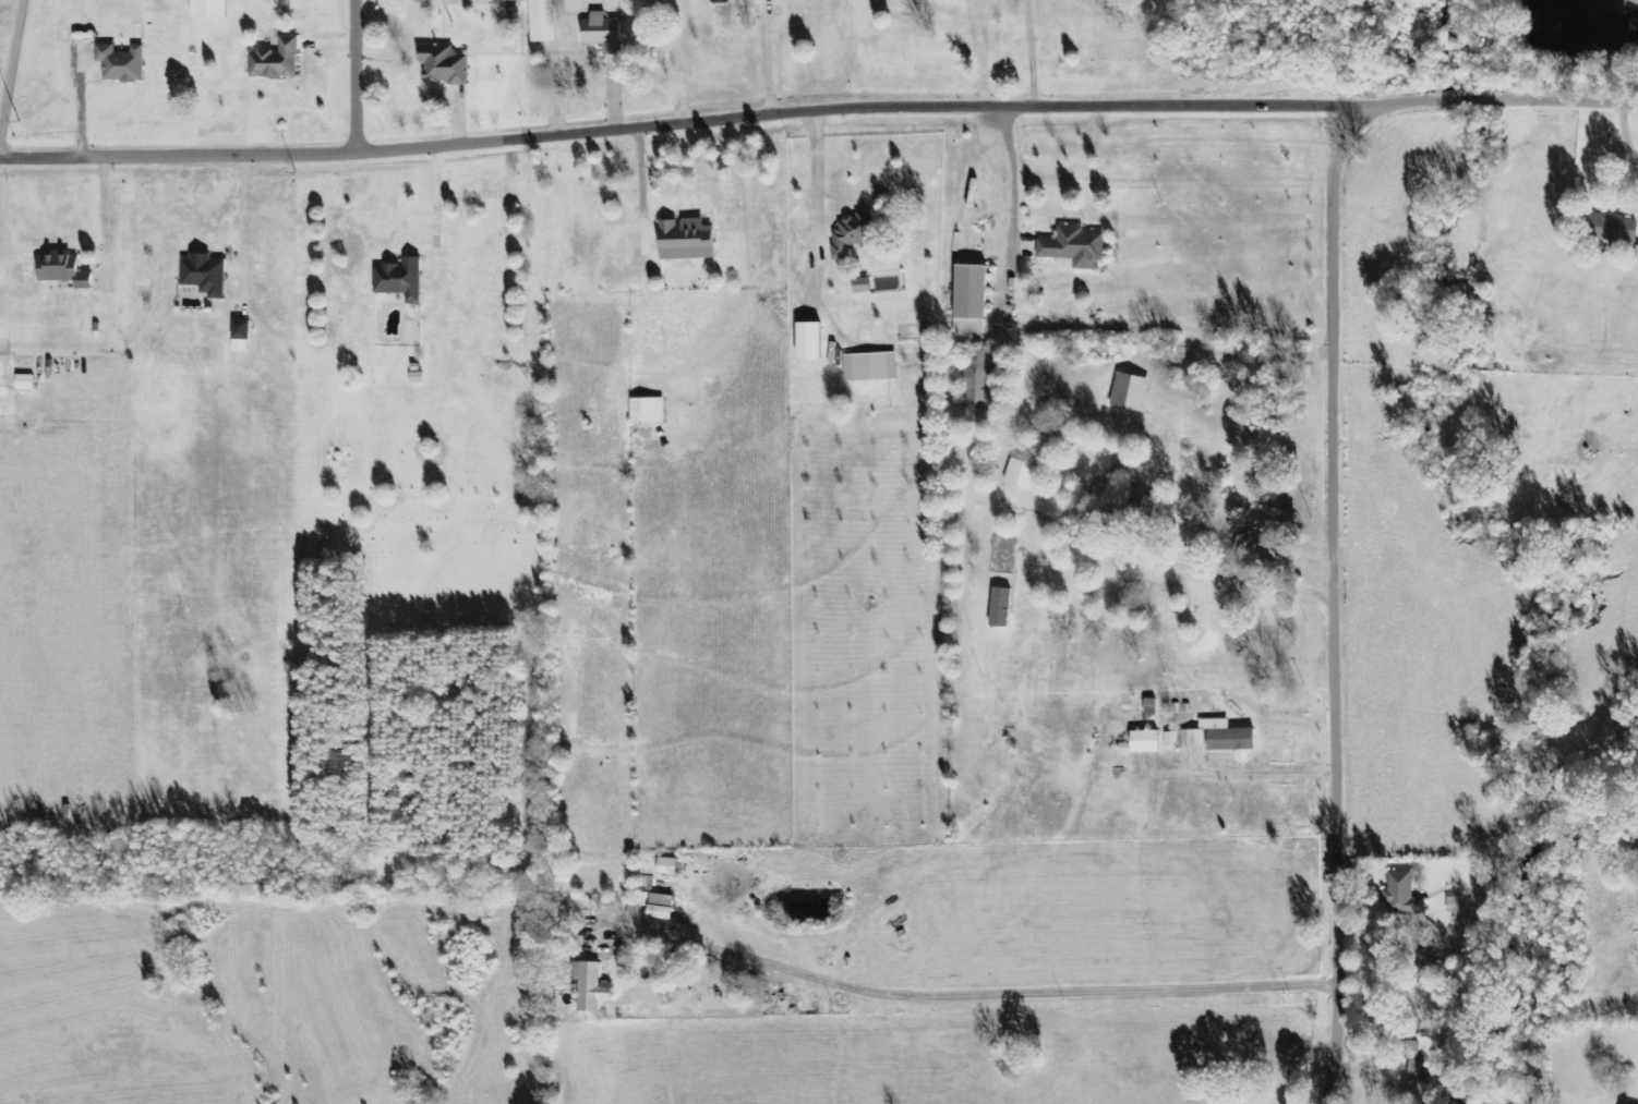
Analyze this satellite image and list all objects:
building: (759, 0)
building: (720, 2)
building: (208, 9)
building: (541, 21)
building: (602, 33)
building: (275, 61)
building: (120, 63)
building: (443, 65)
road: (366, 77)
road: (1523, 100)
road: (704, 124)
building: (1613, 229)
building: (851, 232)
building: (684, 240)
building: (1073, 248)
building: (62, 270)
building: (203, 275)
building: (400, 280)
building: (860, 286)
building: (969, 300)
building: (240, 337)
building: (808, 342)
building: (869, 367)
building: (980, 380)
building: (24, 383)
building: (1130, 392)
building: (647, 411)
building: (1109, 500)
building: (1146, 510)
road: (1342, 587)
building: (999, 607)
building: (1170, 739)
building: (1218, 739)
building: (1141, 743)
building: (665, 868)
building: (1401, 896)
building: (643, 900)
building: (1454, 903)
building: (660, 908)
building: (559, 915)
building: (1424, 963)
building: (591, 988)
building: (1411, 1058)

